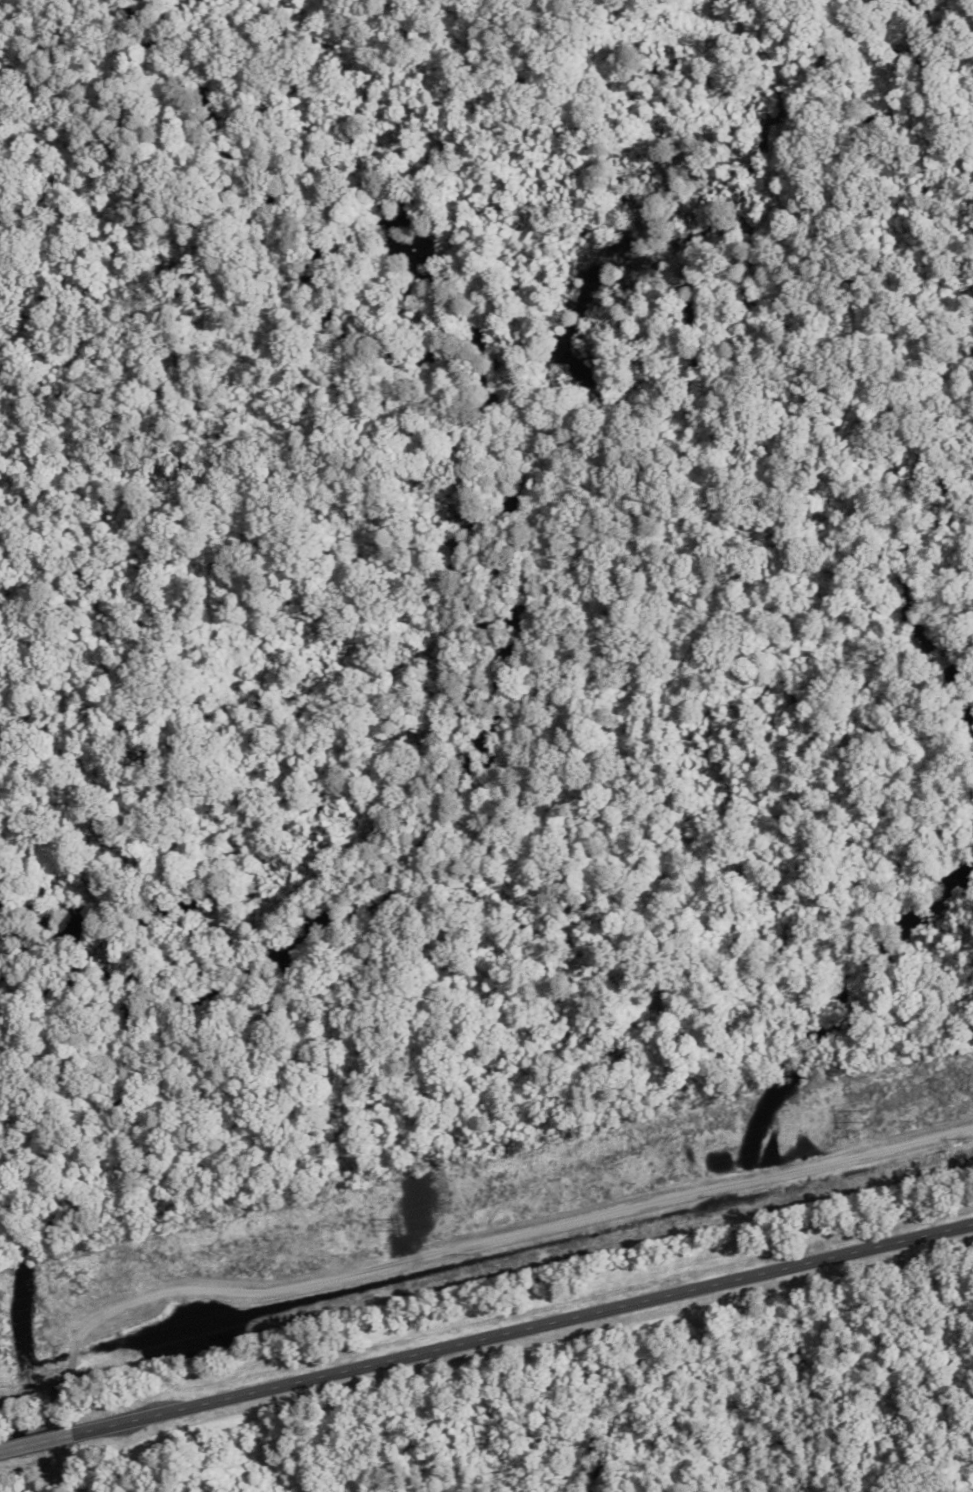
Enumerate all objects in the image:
power tower: (864, 1116)
power tower: (404, 1224)
road: (435, 1256)
road: (523, 1325)
road: (36, 1443)

